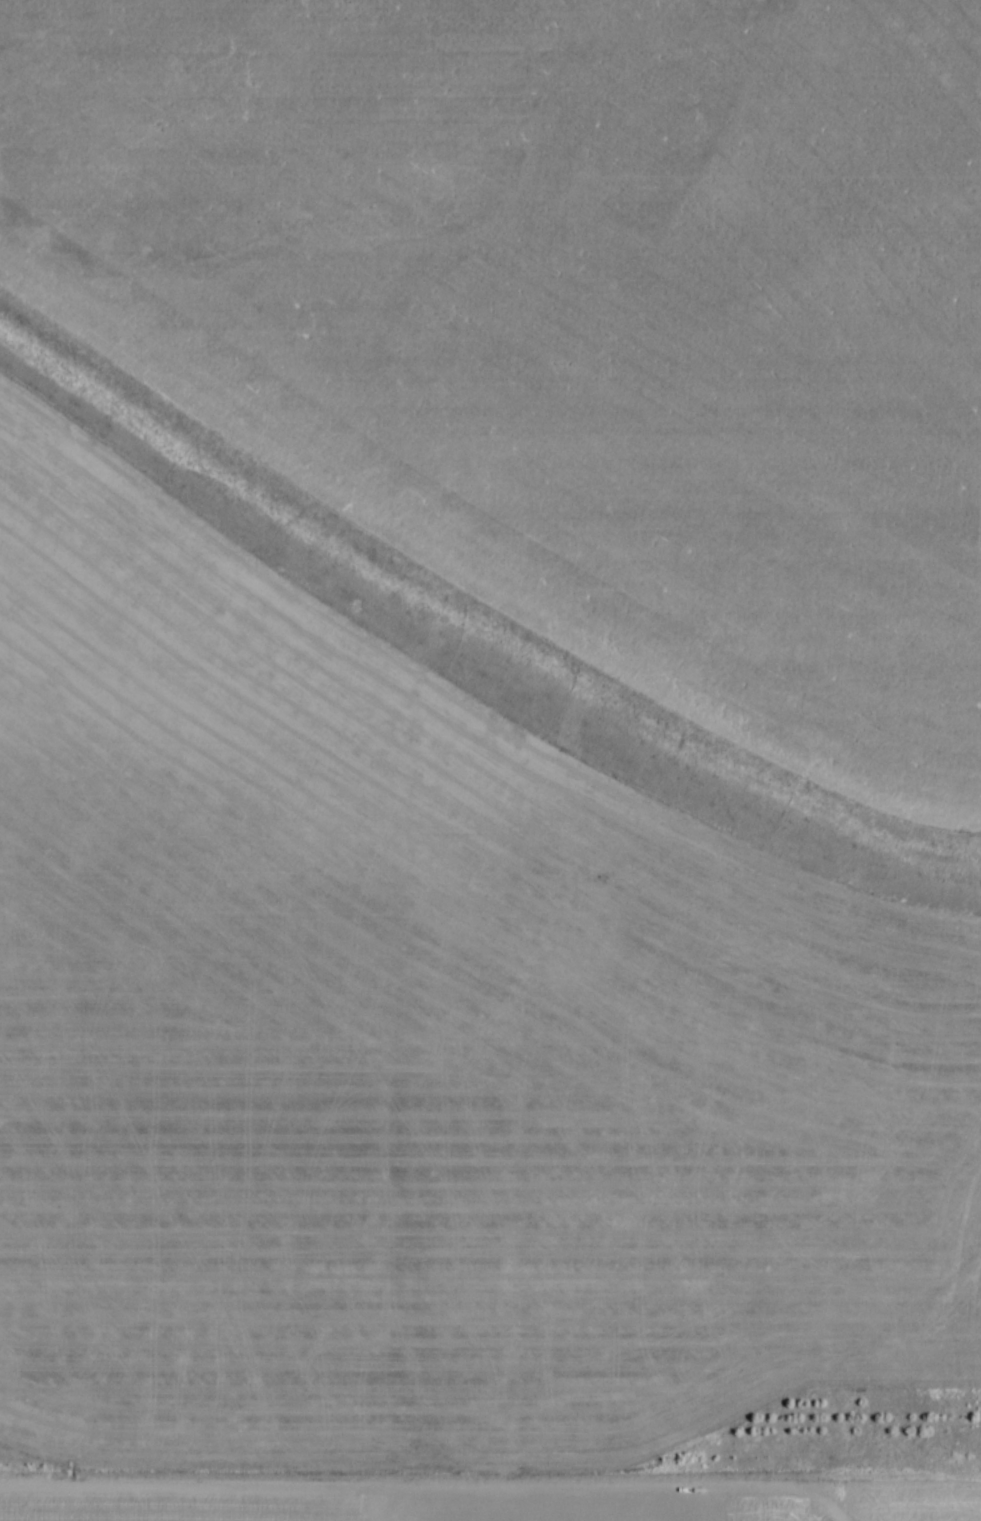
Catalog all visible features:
crop: (567, 321)
crop: (410, 1049)
crop: (400, 1507)

